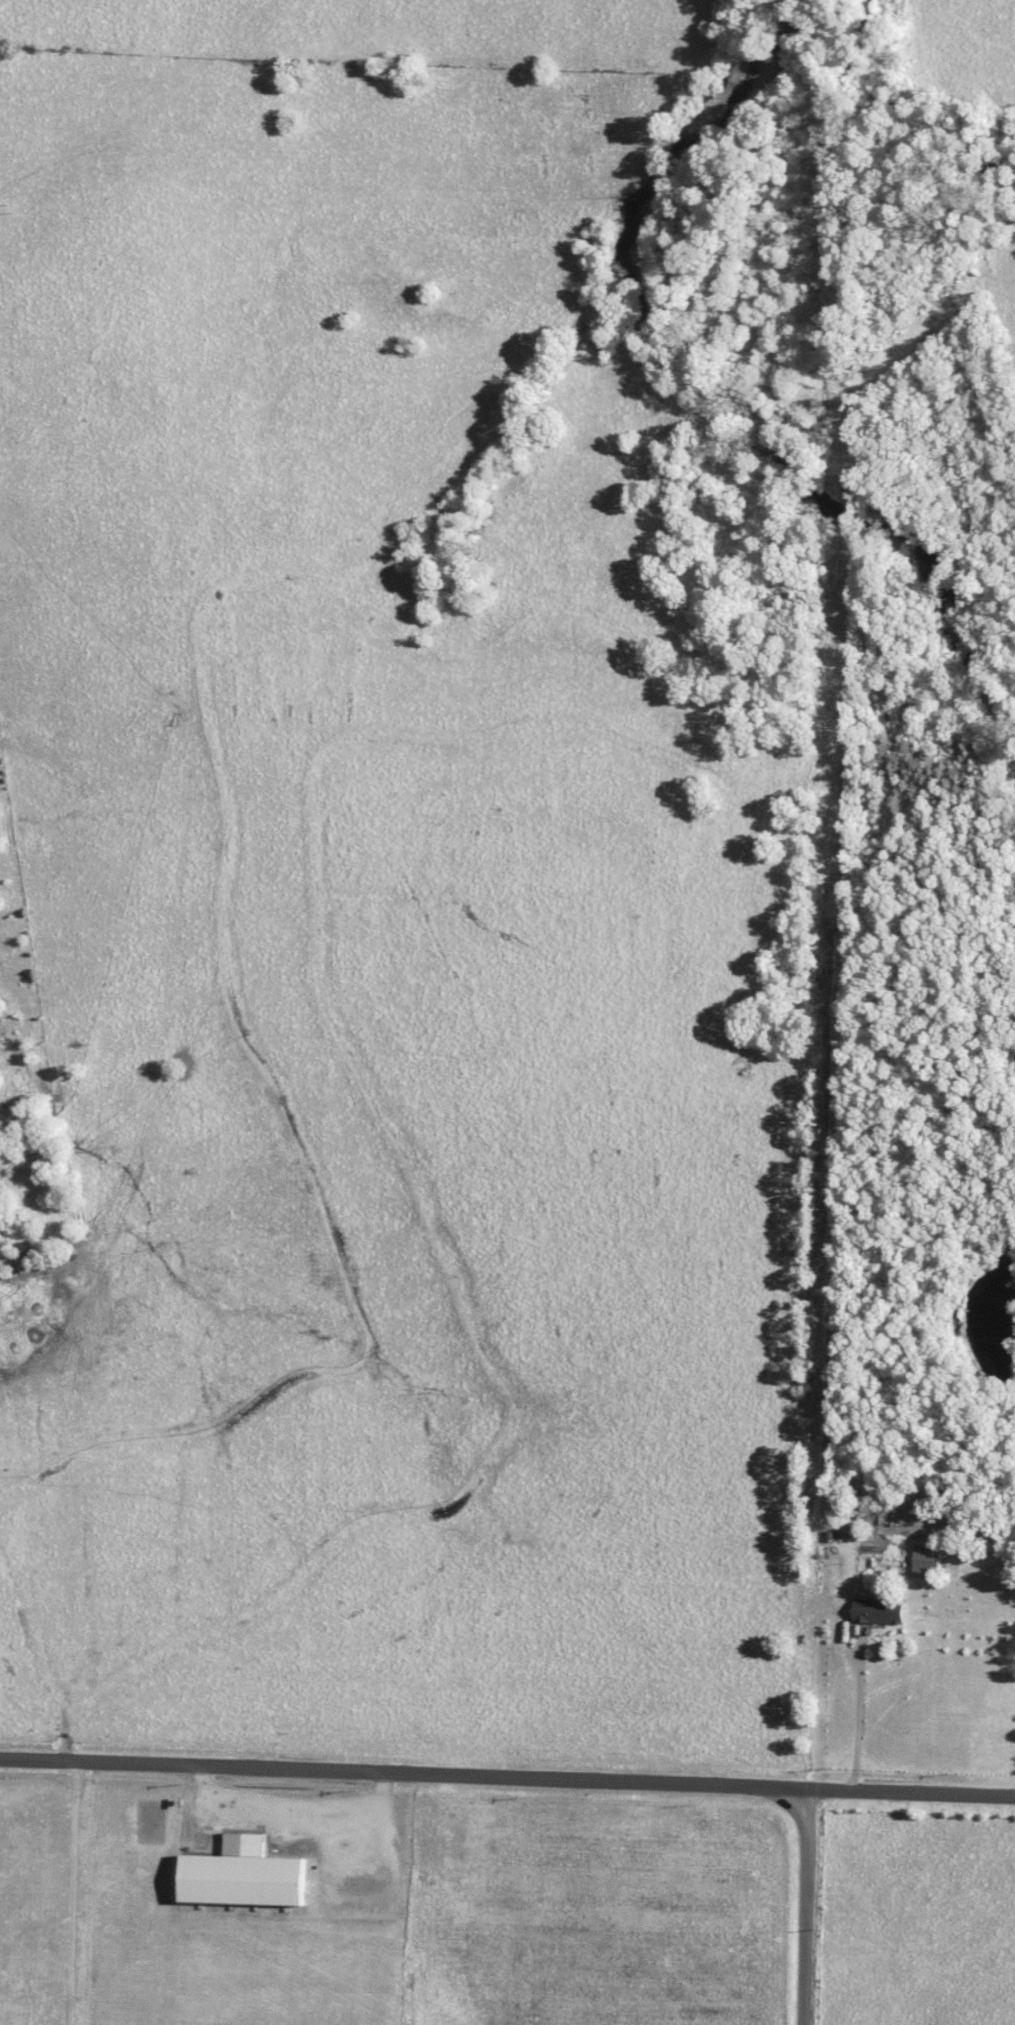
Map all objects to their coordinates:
building: (881, 1611)
road: (859, 1708)
road: (507, 1779)
building: (245, 1873)
road: (71, 1894)
road: (804, 1907)

